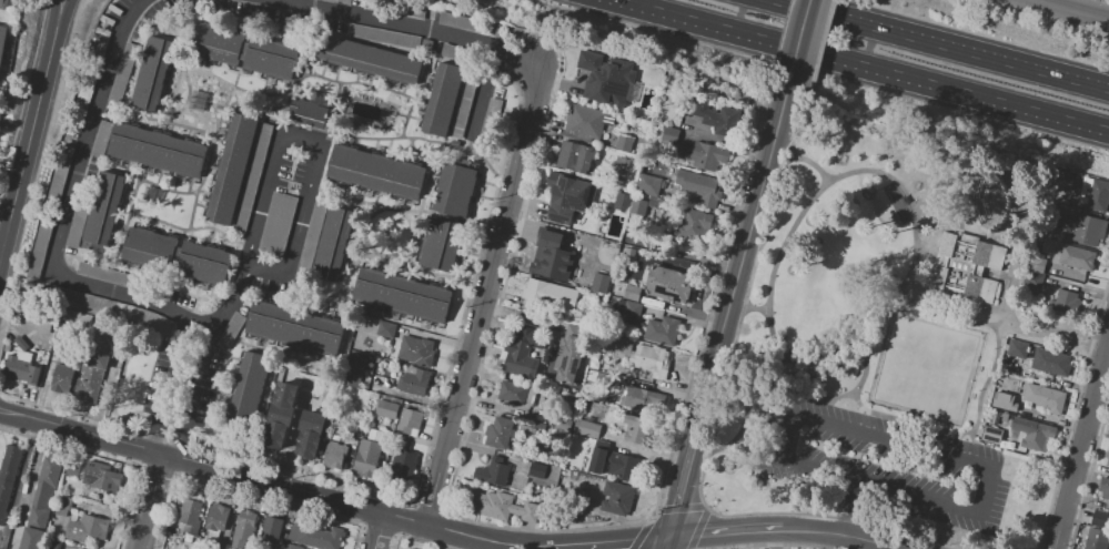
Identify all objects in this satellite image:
building: (339, 1)
building: (3, 4)
building: (395, 9)
road: (57, 10)
road: (62, 10)
road: (1068, 10)
building: (470, 24)
road: (407, 26)
building: (383, 35)
road: (800, 42)
building: (2, 43)
road: (941, 43)
building: (215, 44)
building: (98, 49)
building: (455, 52)
building: (369, 59)
building: (270, 60)
road: (859, 65)
building: (122, 73)
building: (152, 74)
building: (605, 79)
building: (466, 87)
building: (85, 91)
building: (443, 100)
building: (308, 114)
building: (718, 119)
building: (488, 120)
building: (585, 122)
building: (669, 135)
road: (299, 138)
building: (101, 139)
building: (625, 140)
road: (28, 141)
building: (157, 150)
building: (702, 155)
building: (574, 157)
road: (801, 163)
building: (621, 167)
building: (231, 169)
building: (375, 173)
building: (60, 174)
building: (253, 177)
building: (699, 187)
building: (455, 190)
building: (653, 196)
building: (565, 197)
building: (1098, 197)
road: (262, 200)
building: (622, 202)
road: (938, 204)
building: (102, 212)
road: (65, 214)
building: (693, 224)
building: (278, 225)
road: (295, 226)
building: (1080, 227)
building: (75, 228)
building: (312, 233)
road: (916, 237)
building: (551, 241)
road: (2, 244)
building: (333, 244)
building: (440, 244)
building: (39, 248)
building: (149, 250)
road: (747, 253)
building: (628, 256)
building: (1073, 257)
building: (203, 264)
building: (1036, 265)
building: (550, 266)
building: (965, 267)
building: (107, 275)
building: (1032, 281)
building: (599, 283)
building: (668, 284)
flagpole: (901, 292)
building: (632, 293)
building: (402, 295)
road: (485, 295)
building: (550, 295)
building: (78, 299)
road: (232, 302)
building: (1063, 302)
road: (750, 307)
building: (632, 309)
building: (38, 318)
road: (1004, 327)
building: (293, 328)
road: (1020, 328)
building: (386, 329)
building: (231, 331)
building: (662, 331)
road: (997, 338)
park: (887, 339)
building: (21, 344)
building: (619, 345)
building: (1017, 349)
building: (415, 352)
building: (522, 355)
building: (568, 360)
building: (651, 360)
building: (1050, 363)
building: (94, 365)
park: (924, 367)
building: (20, 370)
building: (352, 370)
building: (599, 379)
building: (61, 380)
building: (413, 382)
building: (1009, 383)
building: (1017, 385)
road: (167, 386)
road: (855, 386)
building: (248, 388)
building: (516, 394)
road: (192, 396)
building: (1044, 398)
road: (101, 399)
building: (643, 400)
building: (1002, 400)
building: (386, 409)
building: (1017, 410)
building: (280, 418)
building: (1045, 418)
building: (407, 424)
building: (562, 424)
road: (916, 424)
building: (587, 428)
building: (636, 429)
building: (992, 429)
building: (498, 433)
road: (293, 435)
building: (310, 436)
building: (1038, 436)
road: (1080, 441)
road: (961, 449)
road: (921, 450)
building: (369, 454)
building: (335, 456)
building: (607, 460)
road: (753, 461)
building: (1108, 461)
parking lot: (888, 465)
building: (403, 468)
building: (50, 470)
building: (536, 470)
building: (492, 471)
building: (8, 477)
building: (102, 477)
road: (689, 480)
road: (17, 481)
road: (274, 486)
building: (1105, 487)
building: (616, 498)
road: (151, 502)
building: (41, 504)
building: (61, 505)
building: (501, 506)
road: (846, 507)
building: (190, 516)
building: (215, 517)
building: (88, 528)
building: (243, 529)
building: (272, 530)
road: (380, 531)
building: (1098, 531)
road: (840, 533)
road: (725, 535)
building: (315, 537)
building: (31, 538)
traffic signals: (667, 538)
road: (609, 541)
road: (665, 543)
building: (52, 545)
building: (291, 547)
building: (79, 548)
building: (281, 548)
building: (409, 548)

